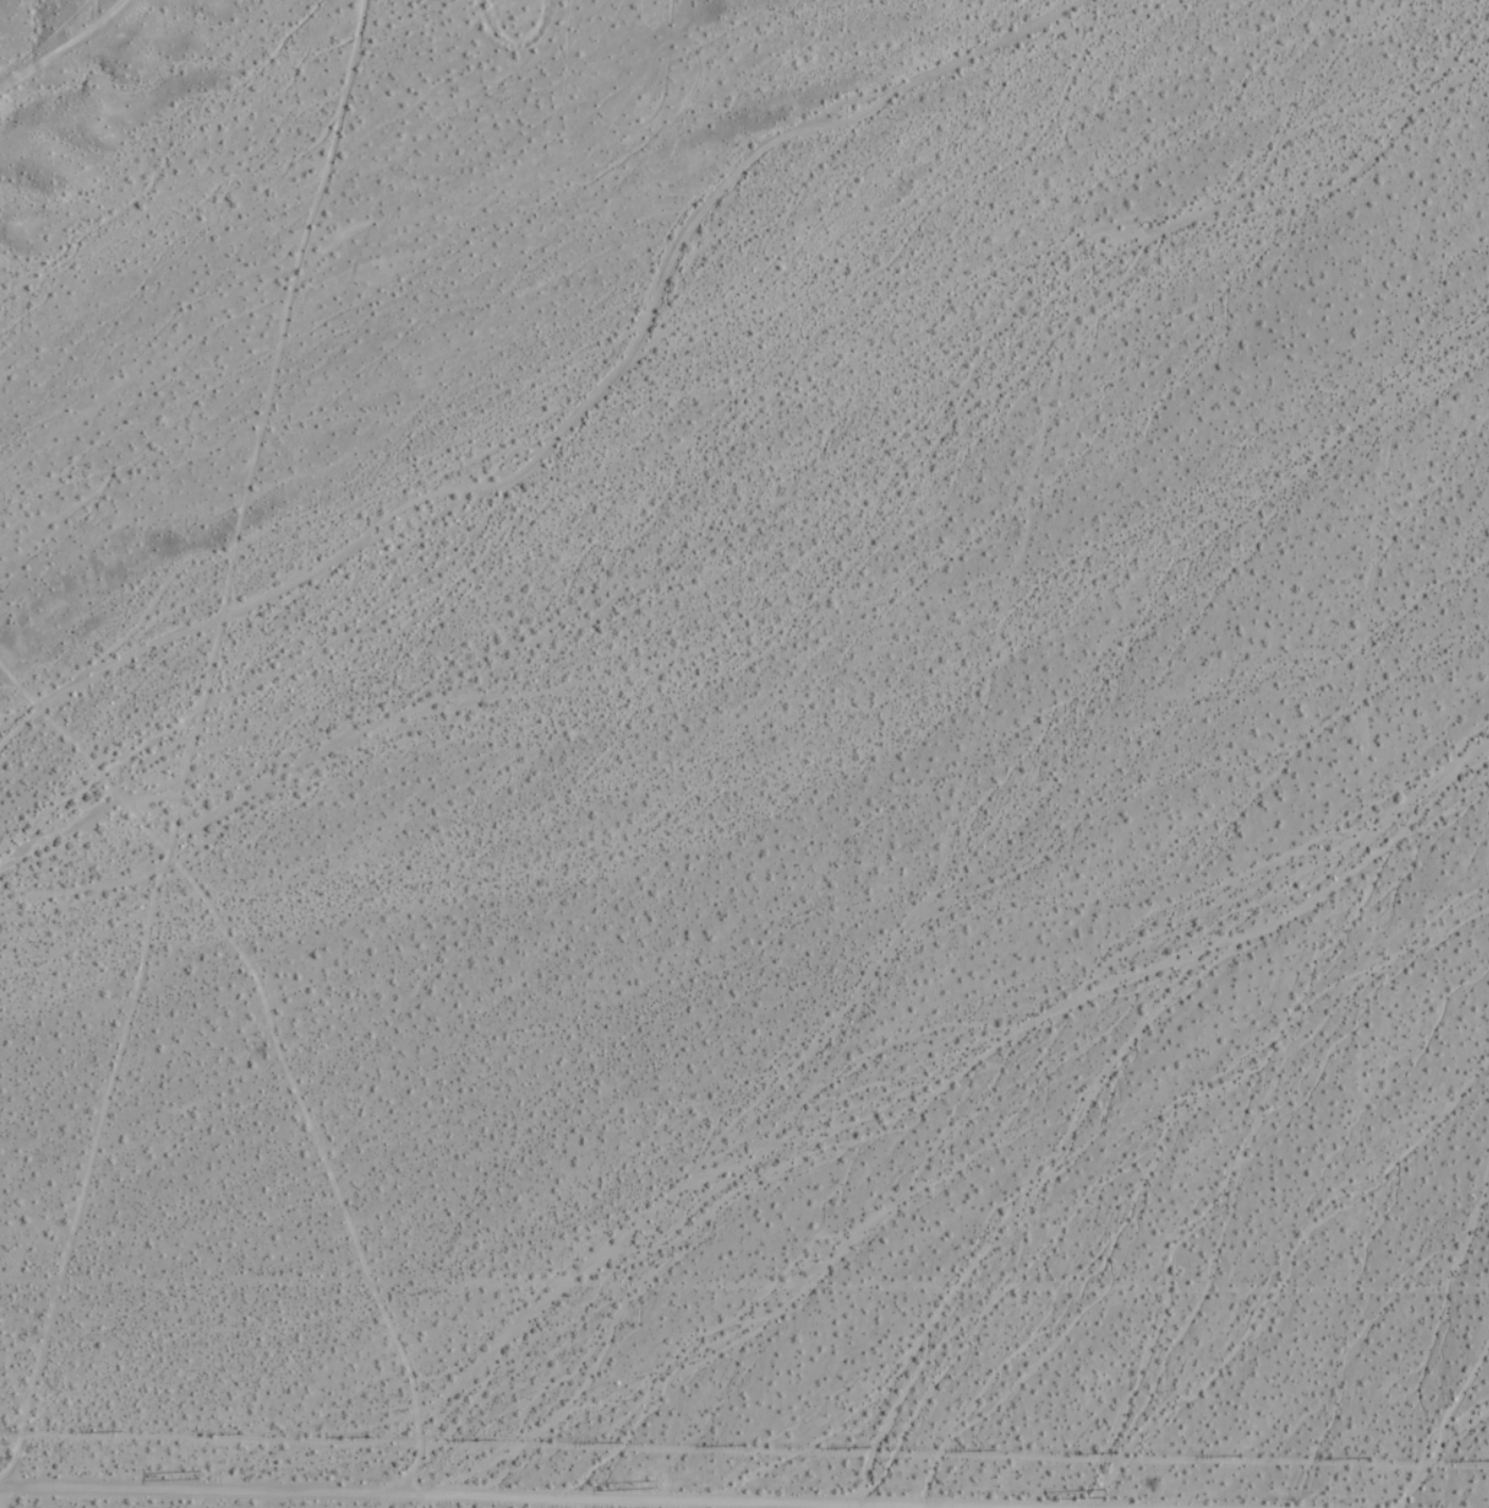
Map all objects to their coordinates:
power tower: (195, 1474)
power tower: (654, 1486)
power tower: (1103, 1494)

